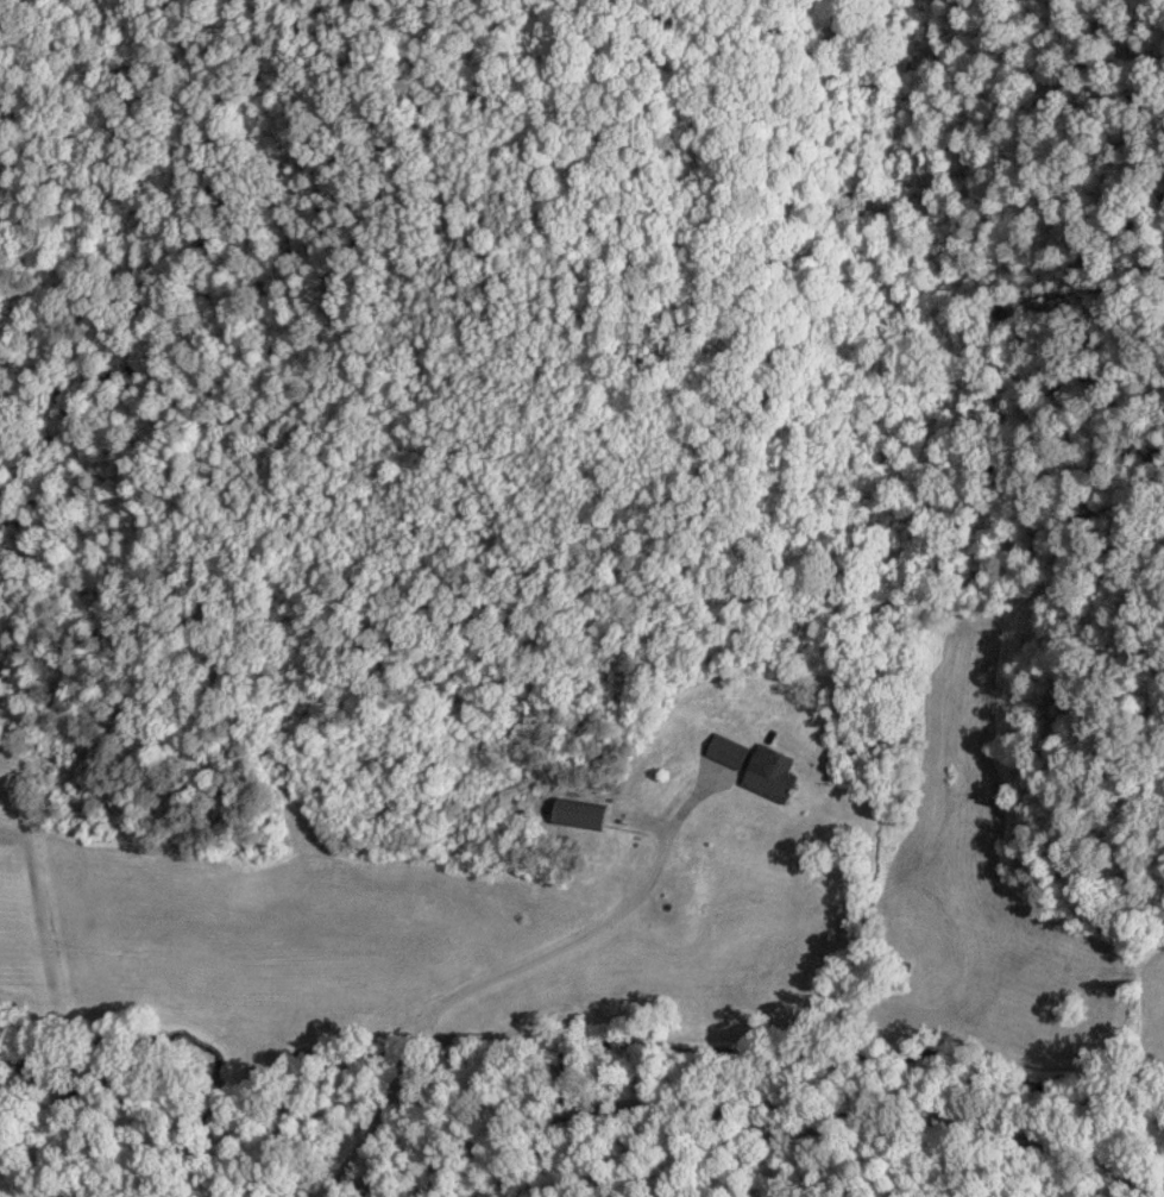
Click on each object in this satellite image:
road: (485, 959)
road: (765, 1107)
road: (64, 1187)

